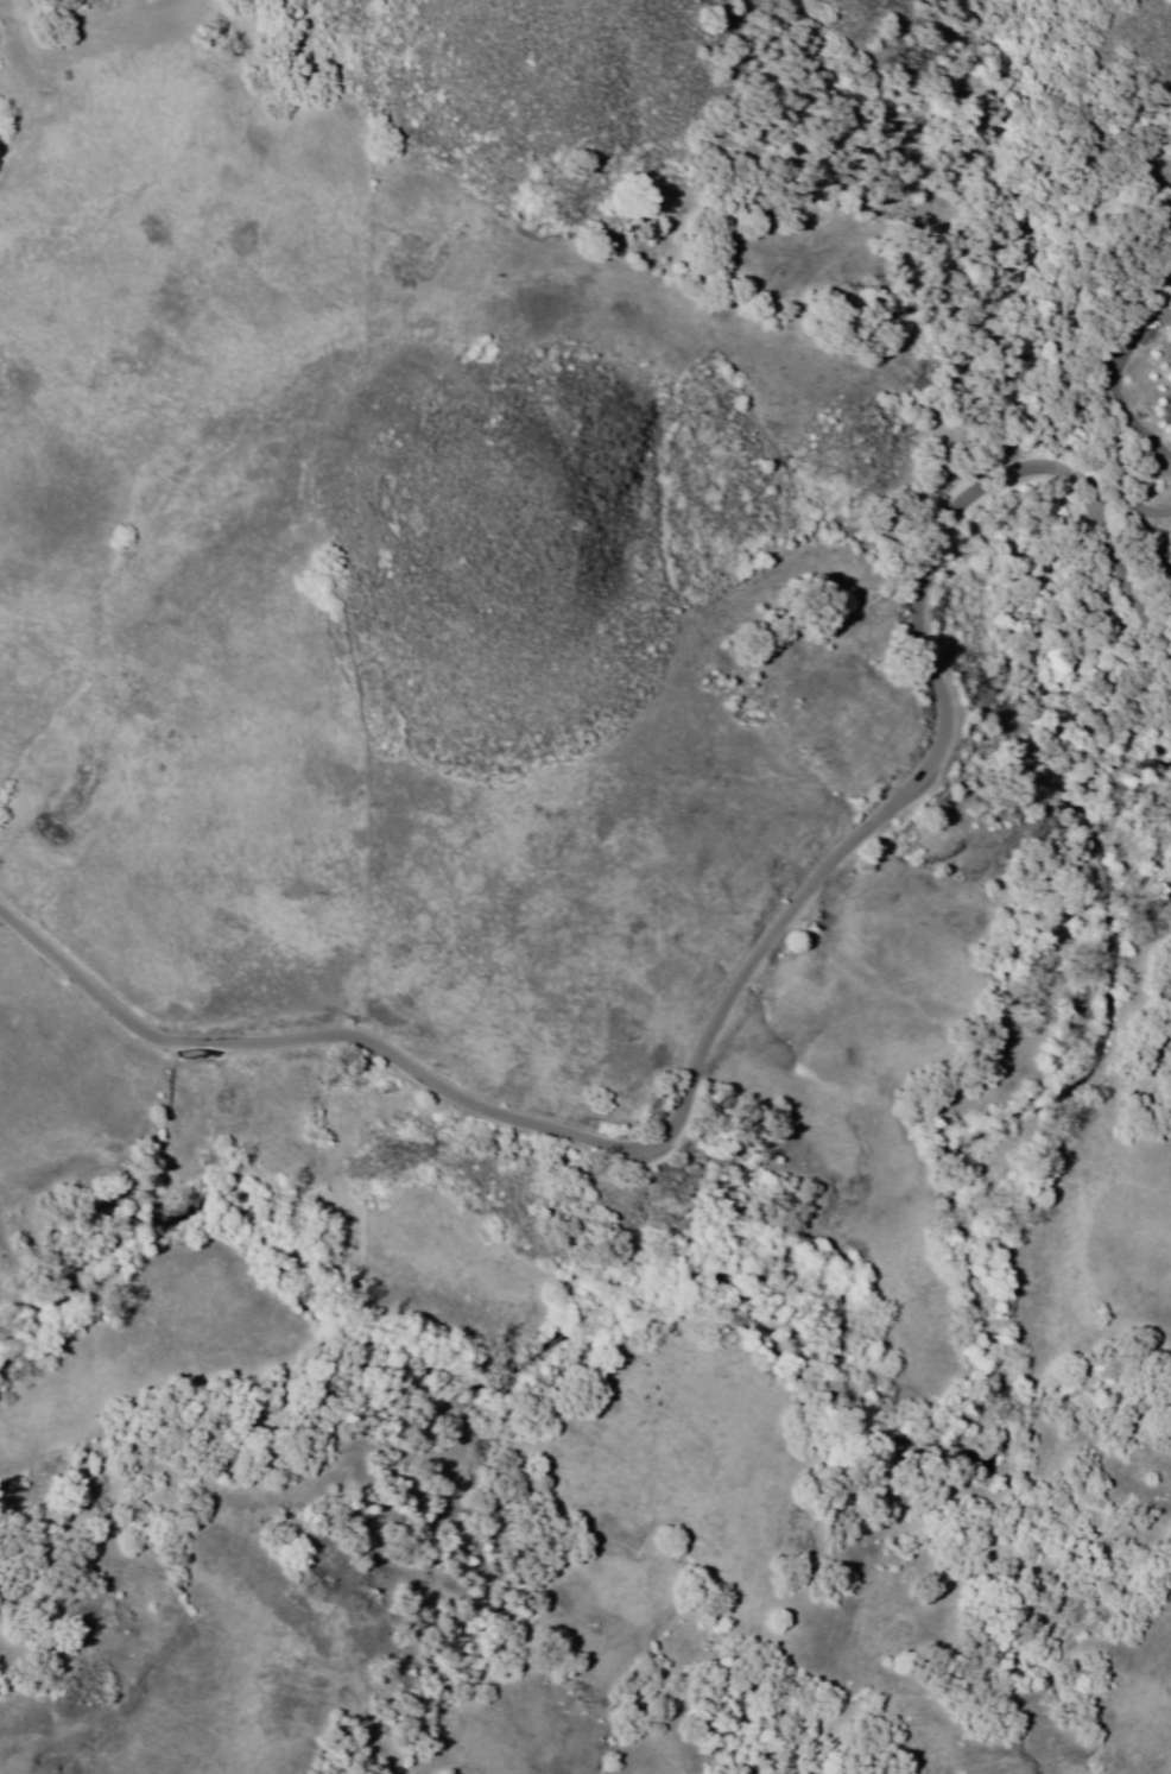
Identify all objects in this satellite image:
road: (37, 97)
building: (1169, 293)
road: (1118, 391)
road: (1128, 501)
road: (728, 986)

